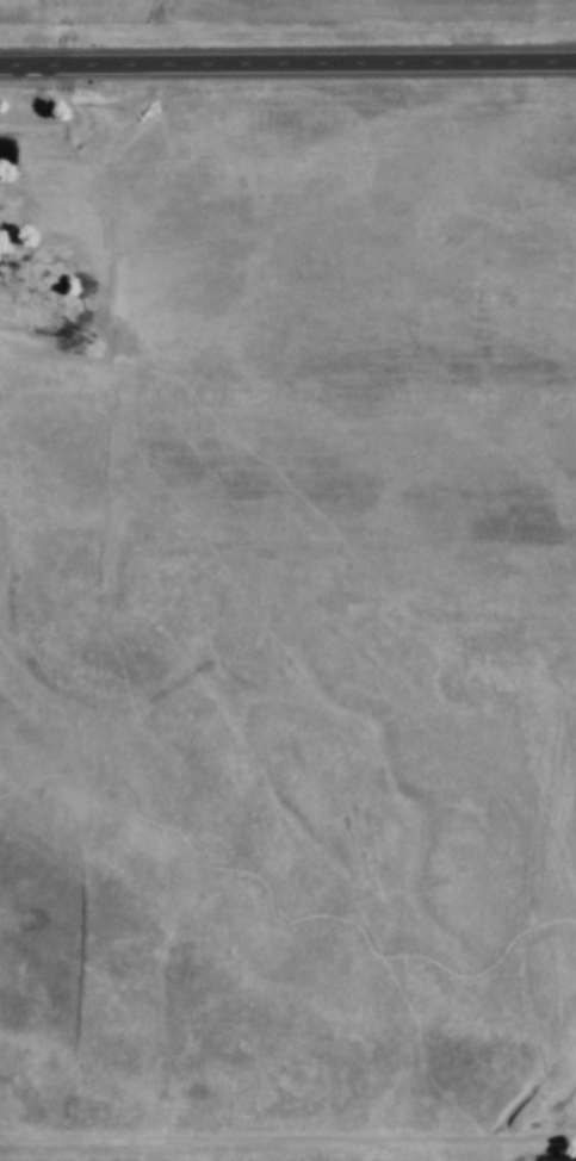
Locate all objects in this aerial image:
road: (287, 67)

